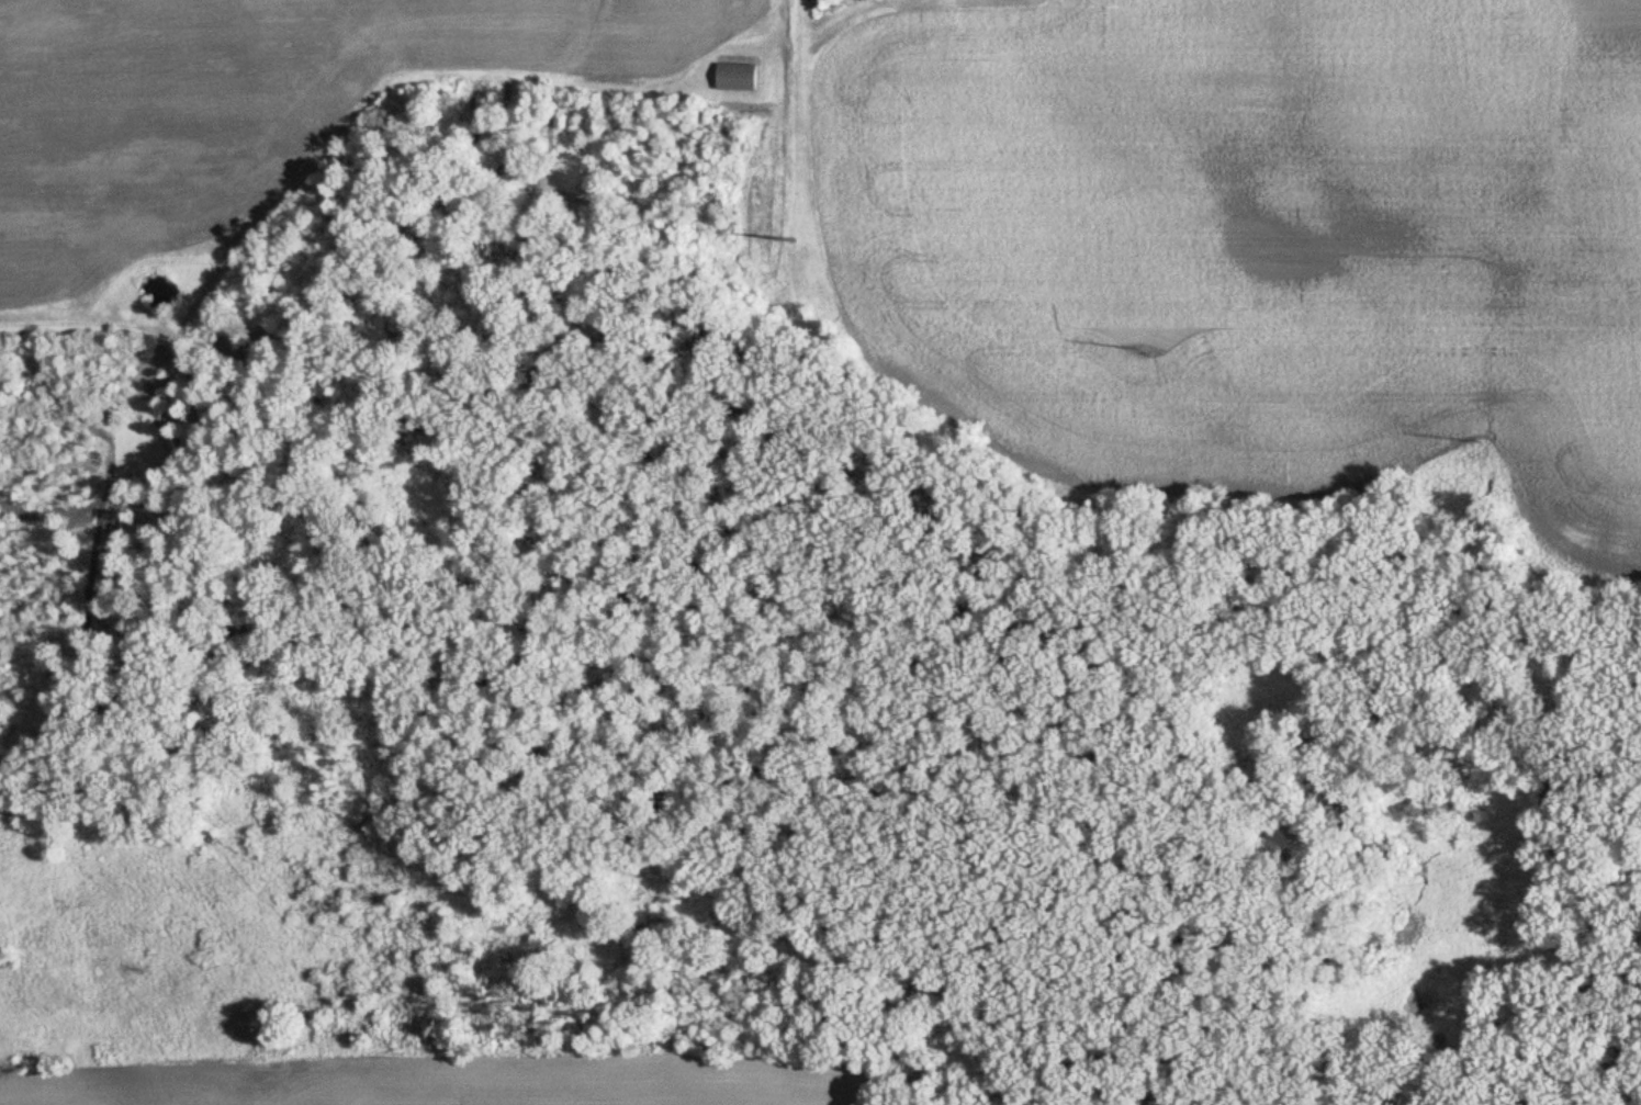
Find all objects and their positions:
building: (741, 79)
road: (776, 84)

